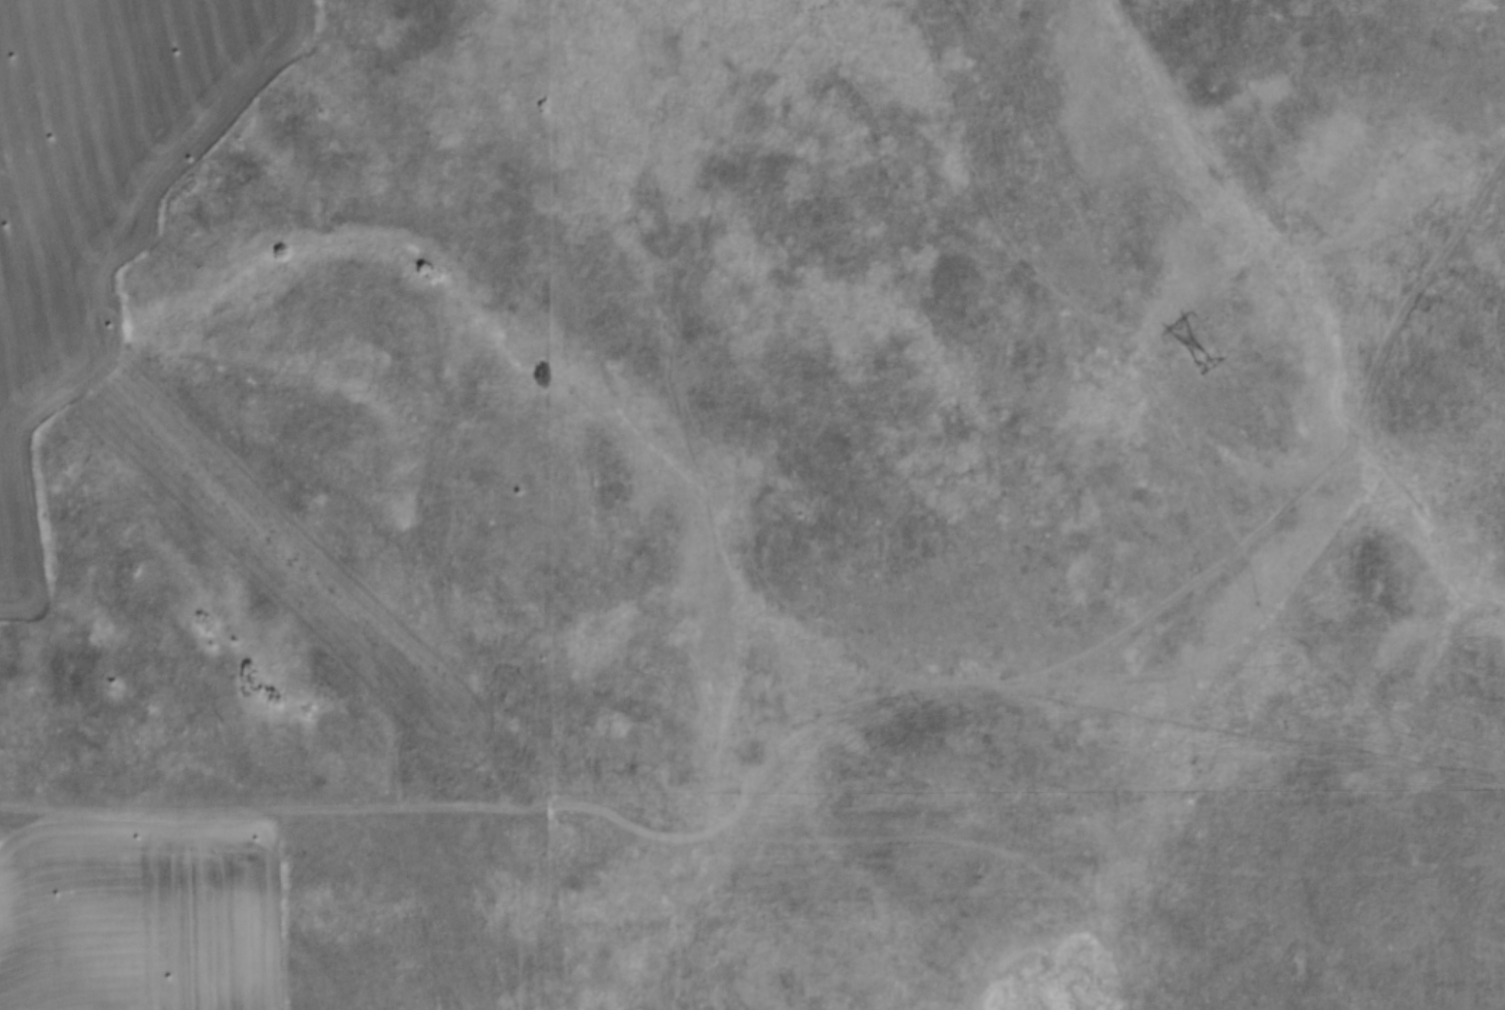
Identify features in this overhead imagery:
power tower: (1205, 369)

